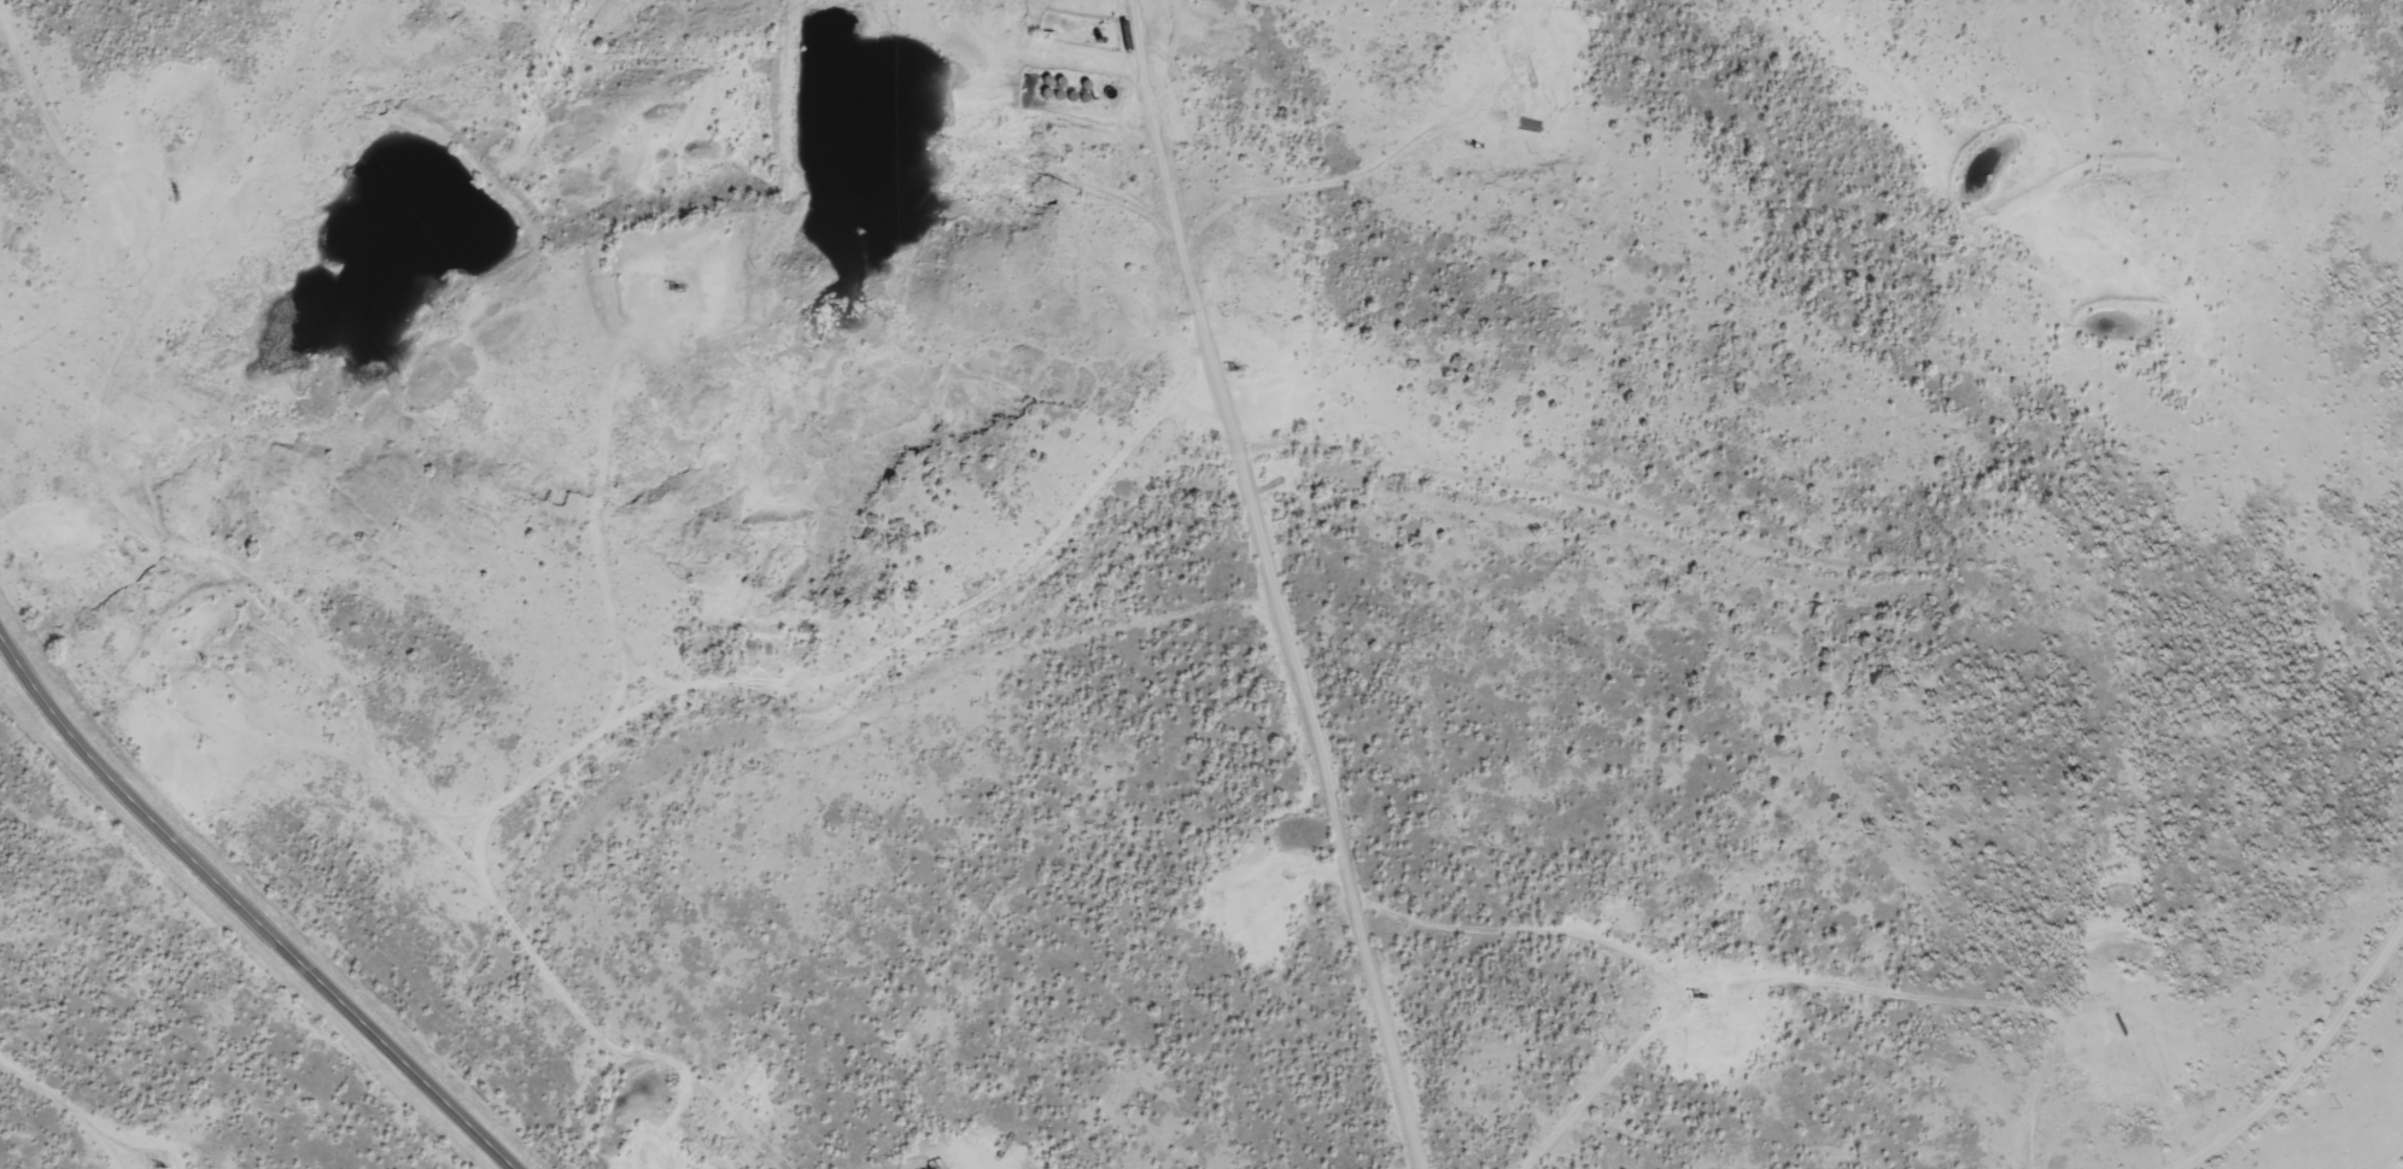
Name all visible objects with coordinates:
road: (2376, 442)
road: (244, 908)
road: (153, 1027)
road: (2325, 1054)

